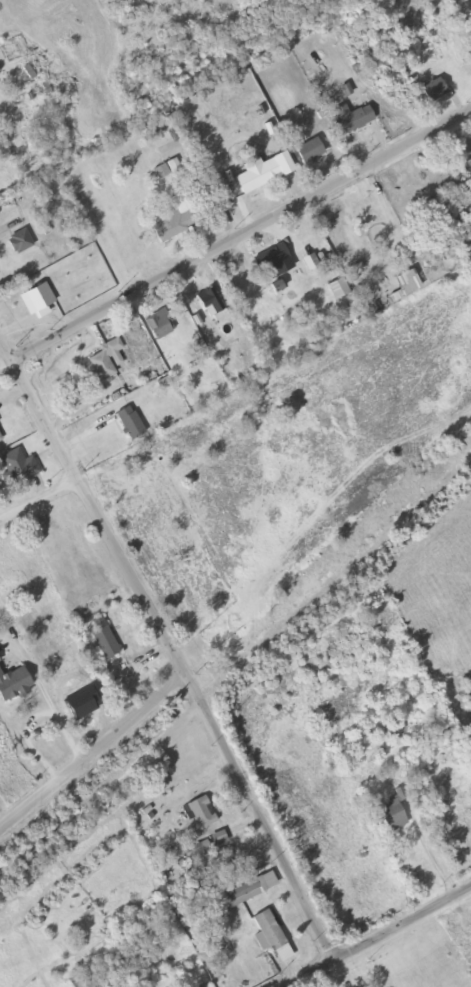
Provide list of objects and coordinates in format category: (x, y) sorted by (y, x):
building: (434, 90)
building: (352, 119)
building: (309, 152)
building: (470, 161)
building: (259, 176)
building: (368, 213)
building: (172, 222)
road: (245, 236)
building: (20, 242)
building: (271, 258)
building: (211, 304)
building: (159, 325)
building: (105, 361)
building: (130, 423)
building: (0, 439)
building: (18, 466)
building: (103, 639)
road: (173, 641)
railway: (235, 664)
building: (13, 684)
building: (395, 729)
road: (96, 752)
building: (199, 813)
building: (392, 816)
building: (239, 892)
building: (268, 930)
road: (379, 937)

